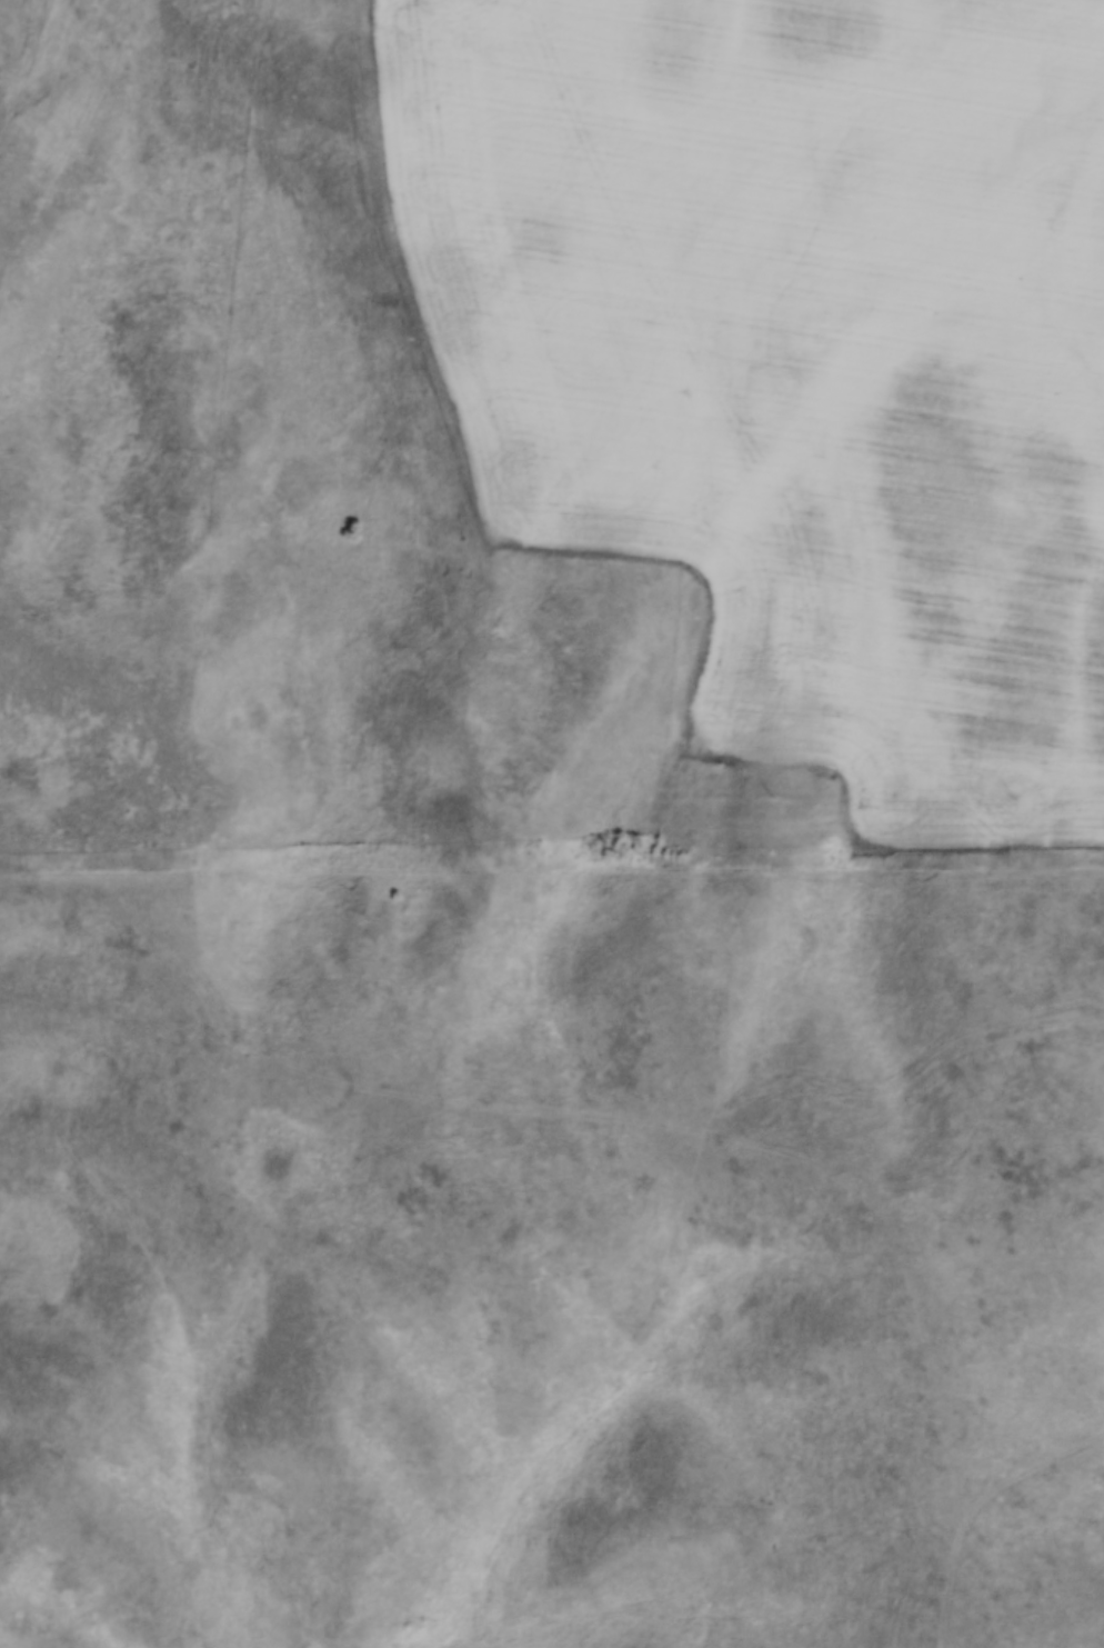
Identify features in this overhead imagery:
building: (956, 193)
road: (980, 1506)

